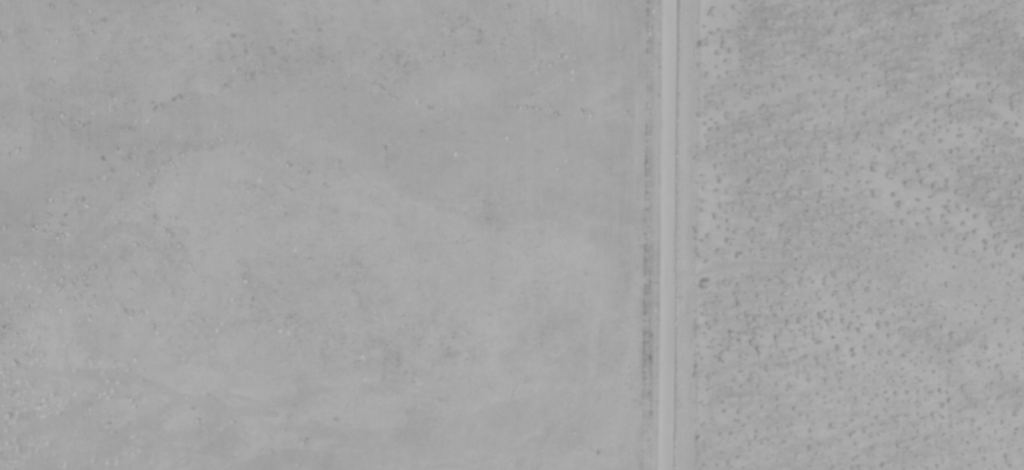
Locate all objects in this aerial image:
road: (658, 234)

